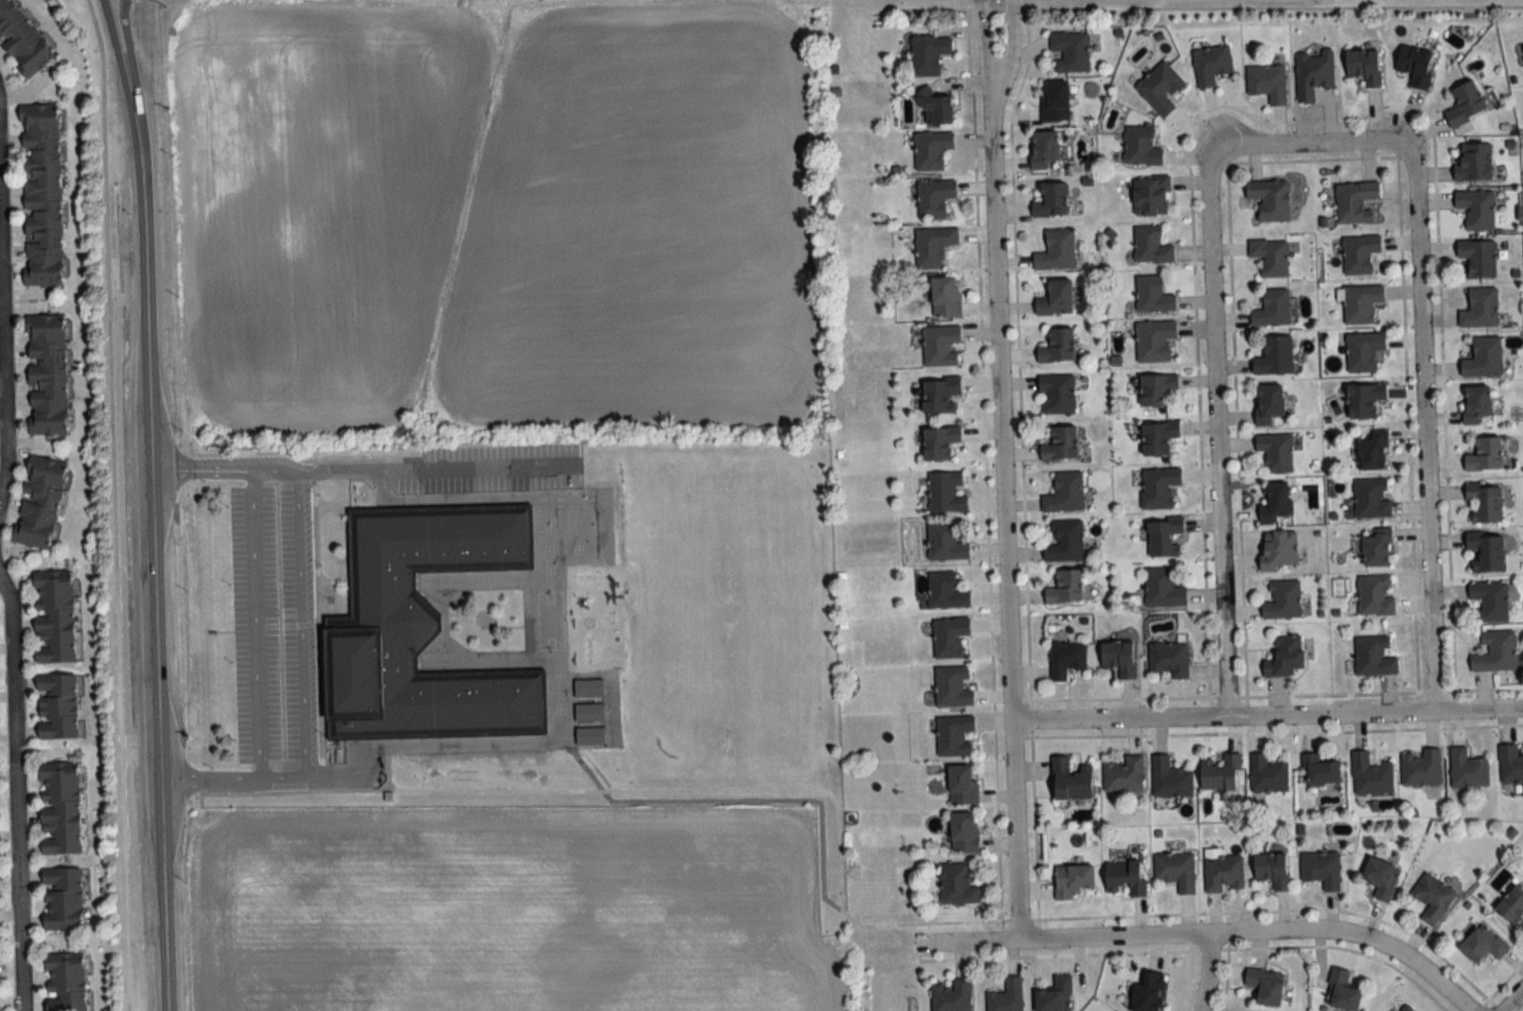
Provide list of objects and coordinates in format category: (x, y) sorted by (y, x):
road: (1202, 8)
road: (983, 41)
road: (1010, 41)
building: (20, 42)
road: (128, 50)
road: (114, 51)
building: (1070, 51)
building: (929, 53)
building: (1211, 64)
building: (1364, 65)
building: (1416, 65)
building: (1313, 74)
building: (1268, 82)
building: (1160, 88)
building: (1055, 101)
building: (1466, 104)
building: (936, 108)
road: (1309, 144)
building: (1141, 147)
building: (1044, 148)
building: (932, 149)
building: (1474, 163)
building: (41, 194)
building: (1152, 196)
building: (935, 198)
building: (1270, 199)
building: (1051, 200)
building: (1355, 201)
building: (1477, 209)
building: (1151, 246)
building: (933, 247)
building: (1057, 251)
building: (1360, 254)
building: (1270, 256)
building: (1478, 258)
building: (1153, 295)
building: (946, 297)
building: (1056, 298)
building: (1361, 303)
building: (1273, 308)
building: (1480, 308)
building: (1154, 340)
building: (940, 345)
building: (1058, 346)
building: (1363, 351)
building: (1275, 356)
building: (1484, 358)
building: (46, 374)
road: (2, 379)
building: (1157, 388)
building: (1057, 393)
building: (940, 394)
building: (1365, 400)
building: (1269, 403)
building: (1477, 403)
road: (1424, 430)
road: (1217, 436)
building: (1158, 437)
building: (939, 442)
building: (1061, 443)
building: (1276, 452)
building: (1373, 453)
building: (1486, 455)
road: (434, 467)
road: (223, 469)
building: (1159, 486)
building: (946, 492)
building: (1065, 493)
building: (39, 501)
building: (1275, 502)
building: (1485, 502)
road: (114, 504)
road: (1004, 510)
building: (1164, 537)
building: (1065, 541)
building: (945, 543)
building: (1378, 548)
building: (1278, 549)
building: (1487, 551)
road: (155, 555)
building: (1066, 588)
building: (1163, 589)
building: (946, 592)
building: (1375, 594)
building: (1283, 600)
building: (1488, 602)
building: (53, 617)
road: (255, 625)
building: (422, 627)
building: (950, 637)
building: (1495, 652)
building: (1374, 656)
building: (1285, 657)
building: (1119, 658)
building: (1066, 659)
building: (1170, 660)
building: (953, 687)
road: (303, 695)
building: (589, 701)
building: (56, 707)
road: (1267, 718)
building: (590, 736)
building: (955, 736)
building: (1511, 765)
building: (1421, 768)
building: (1468, 770)
building: (1320, 771)
building: (1221, 774)
building: (1268, 775)
building: (1371, 775)
building: (1124, 776)
building: (1171, 779)
building: (1070, 780)
building: (962, 786)
road: (16, 798)
building: (59, 808)
building: (964, 832)
building: (1322, 869)
building: (1176, 870)
building: (1272, 870)
road: (839, 872)
building: (1224, 873)
building: (1126, 877)
building: (1382, 878)
building: (1073, 881)
building: (958, 885)
building: (1433, 898)
building: (62, 899)
building: (1513, 905)
road: (1214, 934)
building: (1482, 945)
road: (1190, 951)
road: (1206, 973)
building: (64, 982)
building: (1266, 986)
road: (1501, 986)
building: (1342, 992)
building: (1149, 993)
building: (951, 996)
building: (1056, 996)
building: (1007, 997)
road: (1514, 1001)
building: (1404, 1007)

